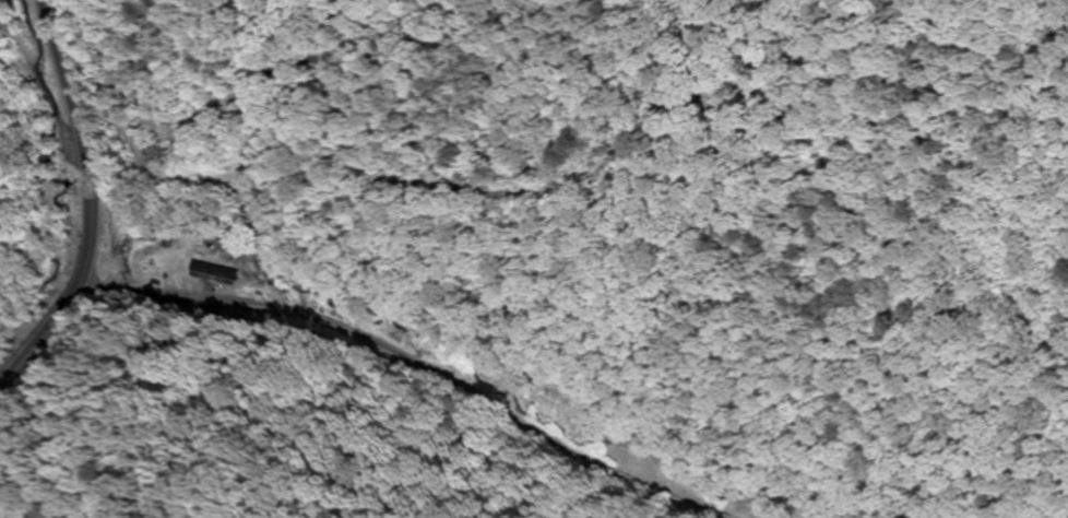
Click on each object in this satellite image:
road: (90, 208)
road: (36, 291)
road: (405, 355)
building: (733, 510)

